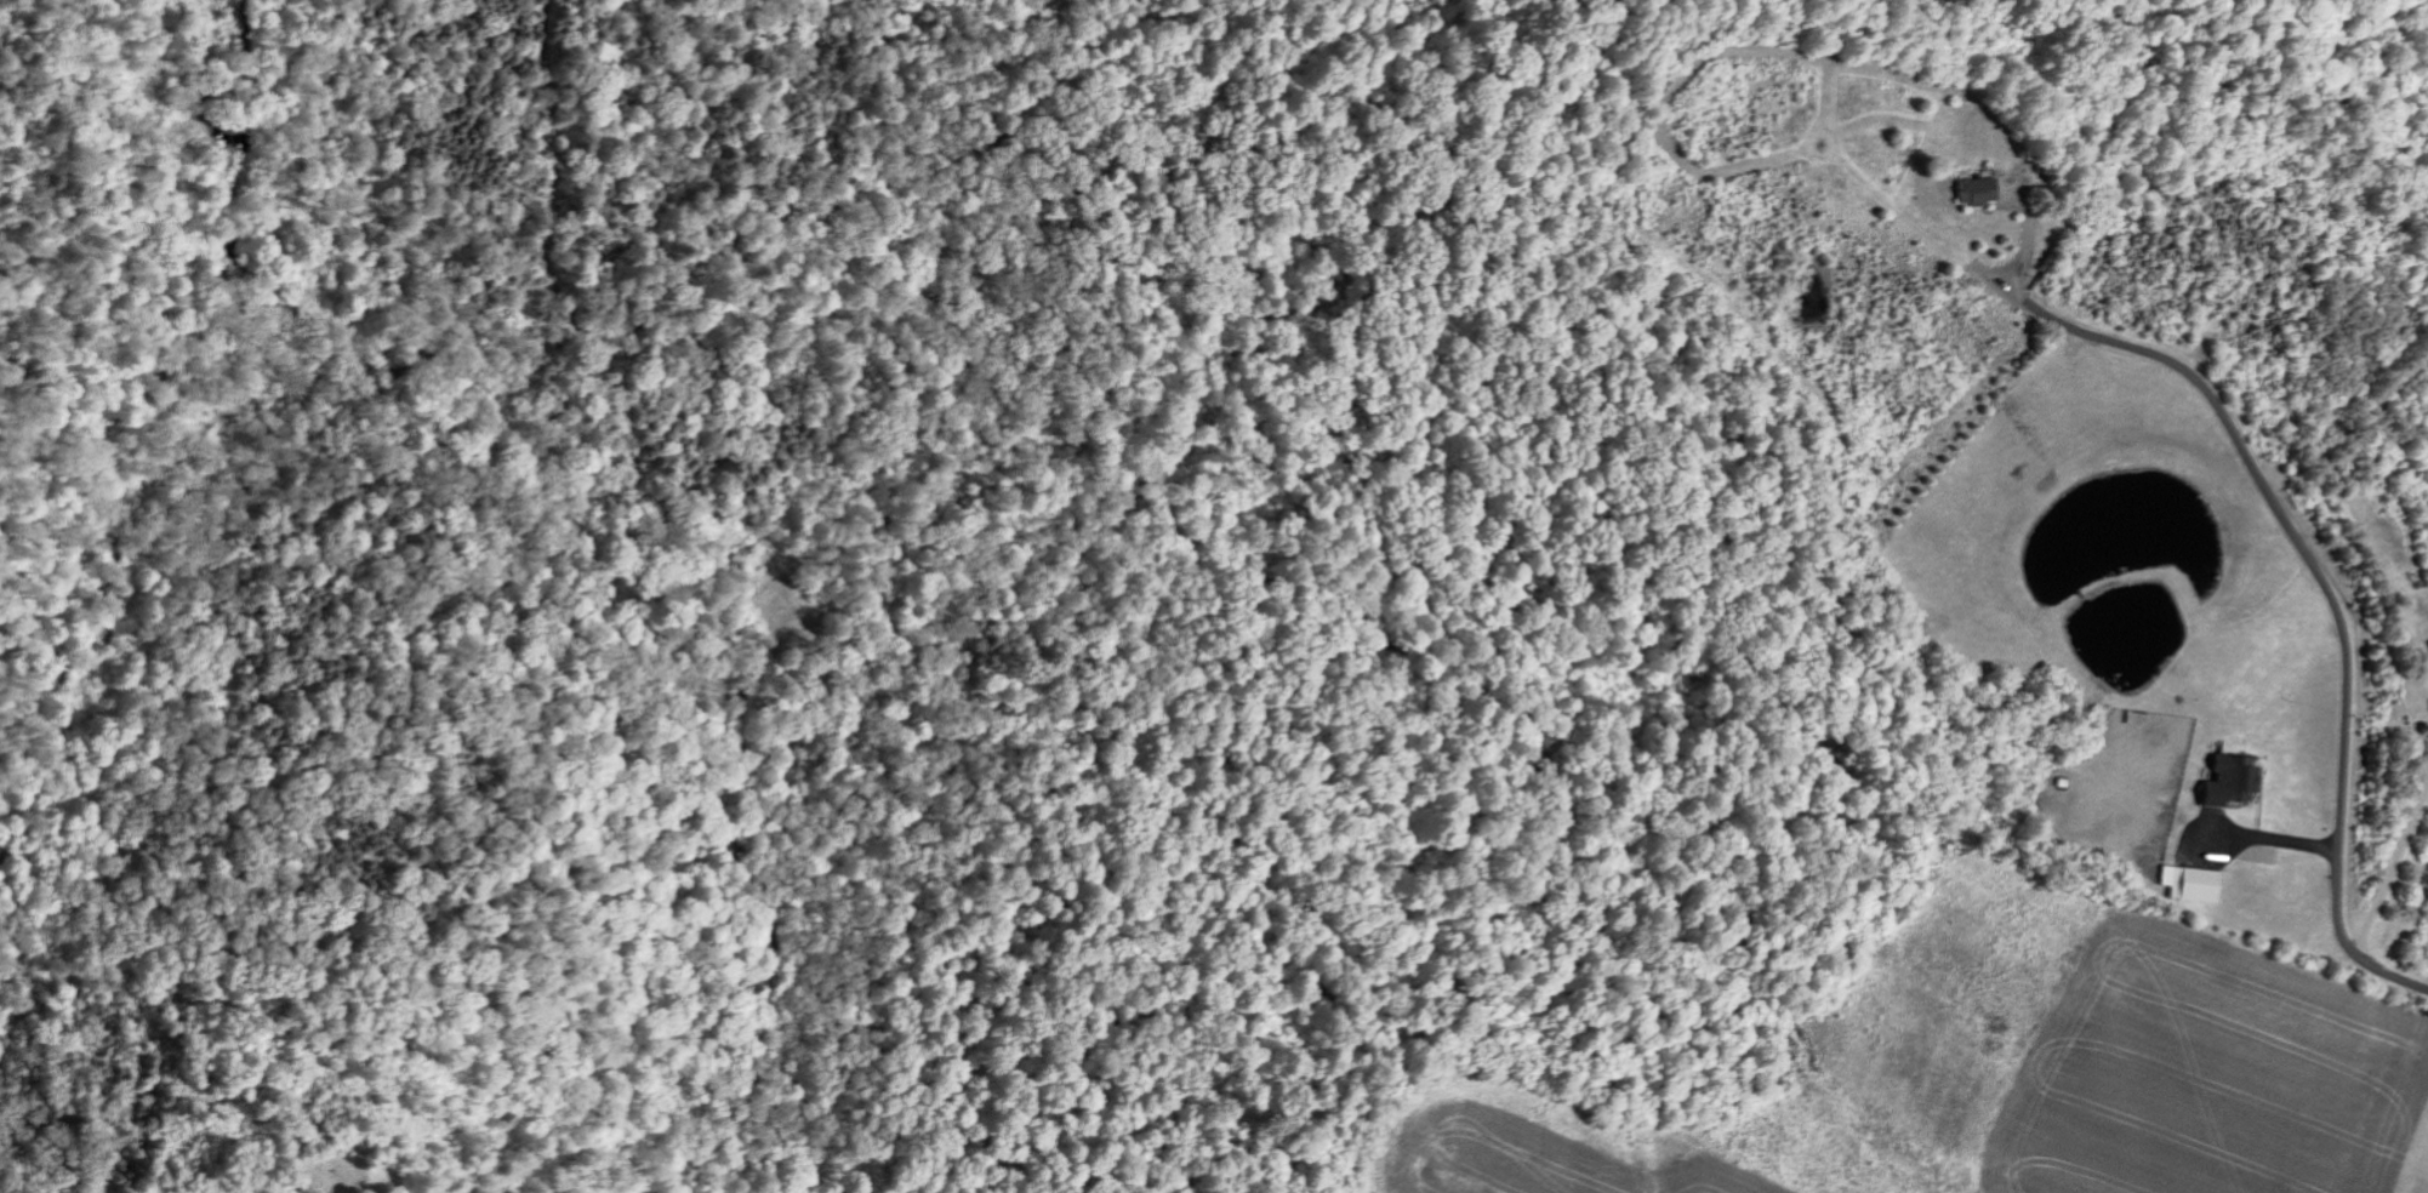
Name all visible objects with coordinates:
building: (1971, 193)
road: (2335, 615)
building: (2427, 641)
building: (2227, 782)
building: (2189, 884)

